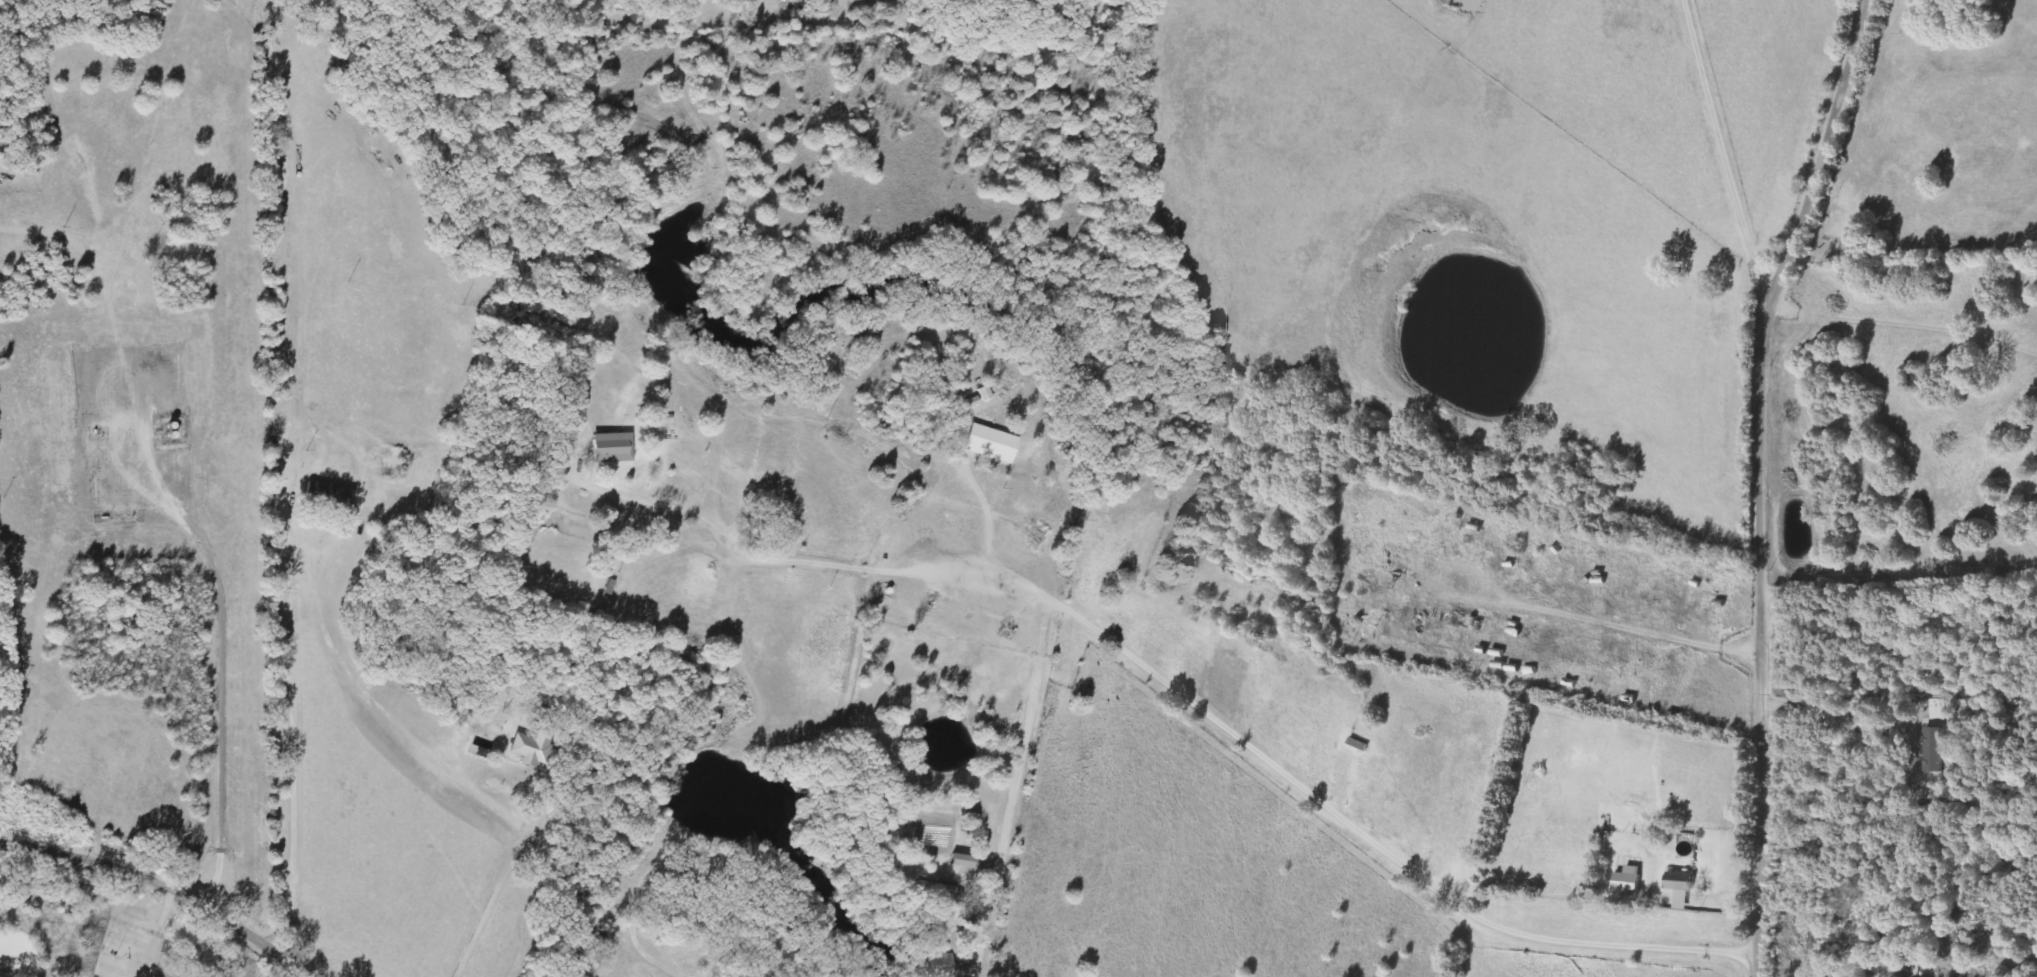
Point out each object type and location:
building: (986, 394)
building: (992, 444)
building: (614, 448)
road: (1760, 481)
building: (329, 500)
building: (764, 529)
building: (537, 749)
building: (1630, 882)
road: (163, 886)
building: (1683, 889)
building: (942, 966)

